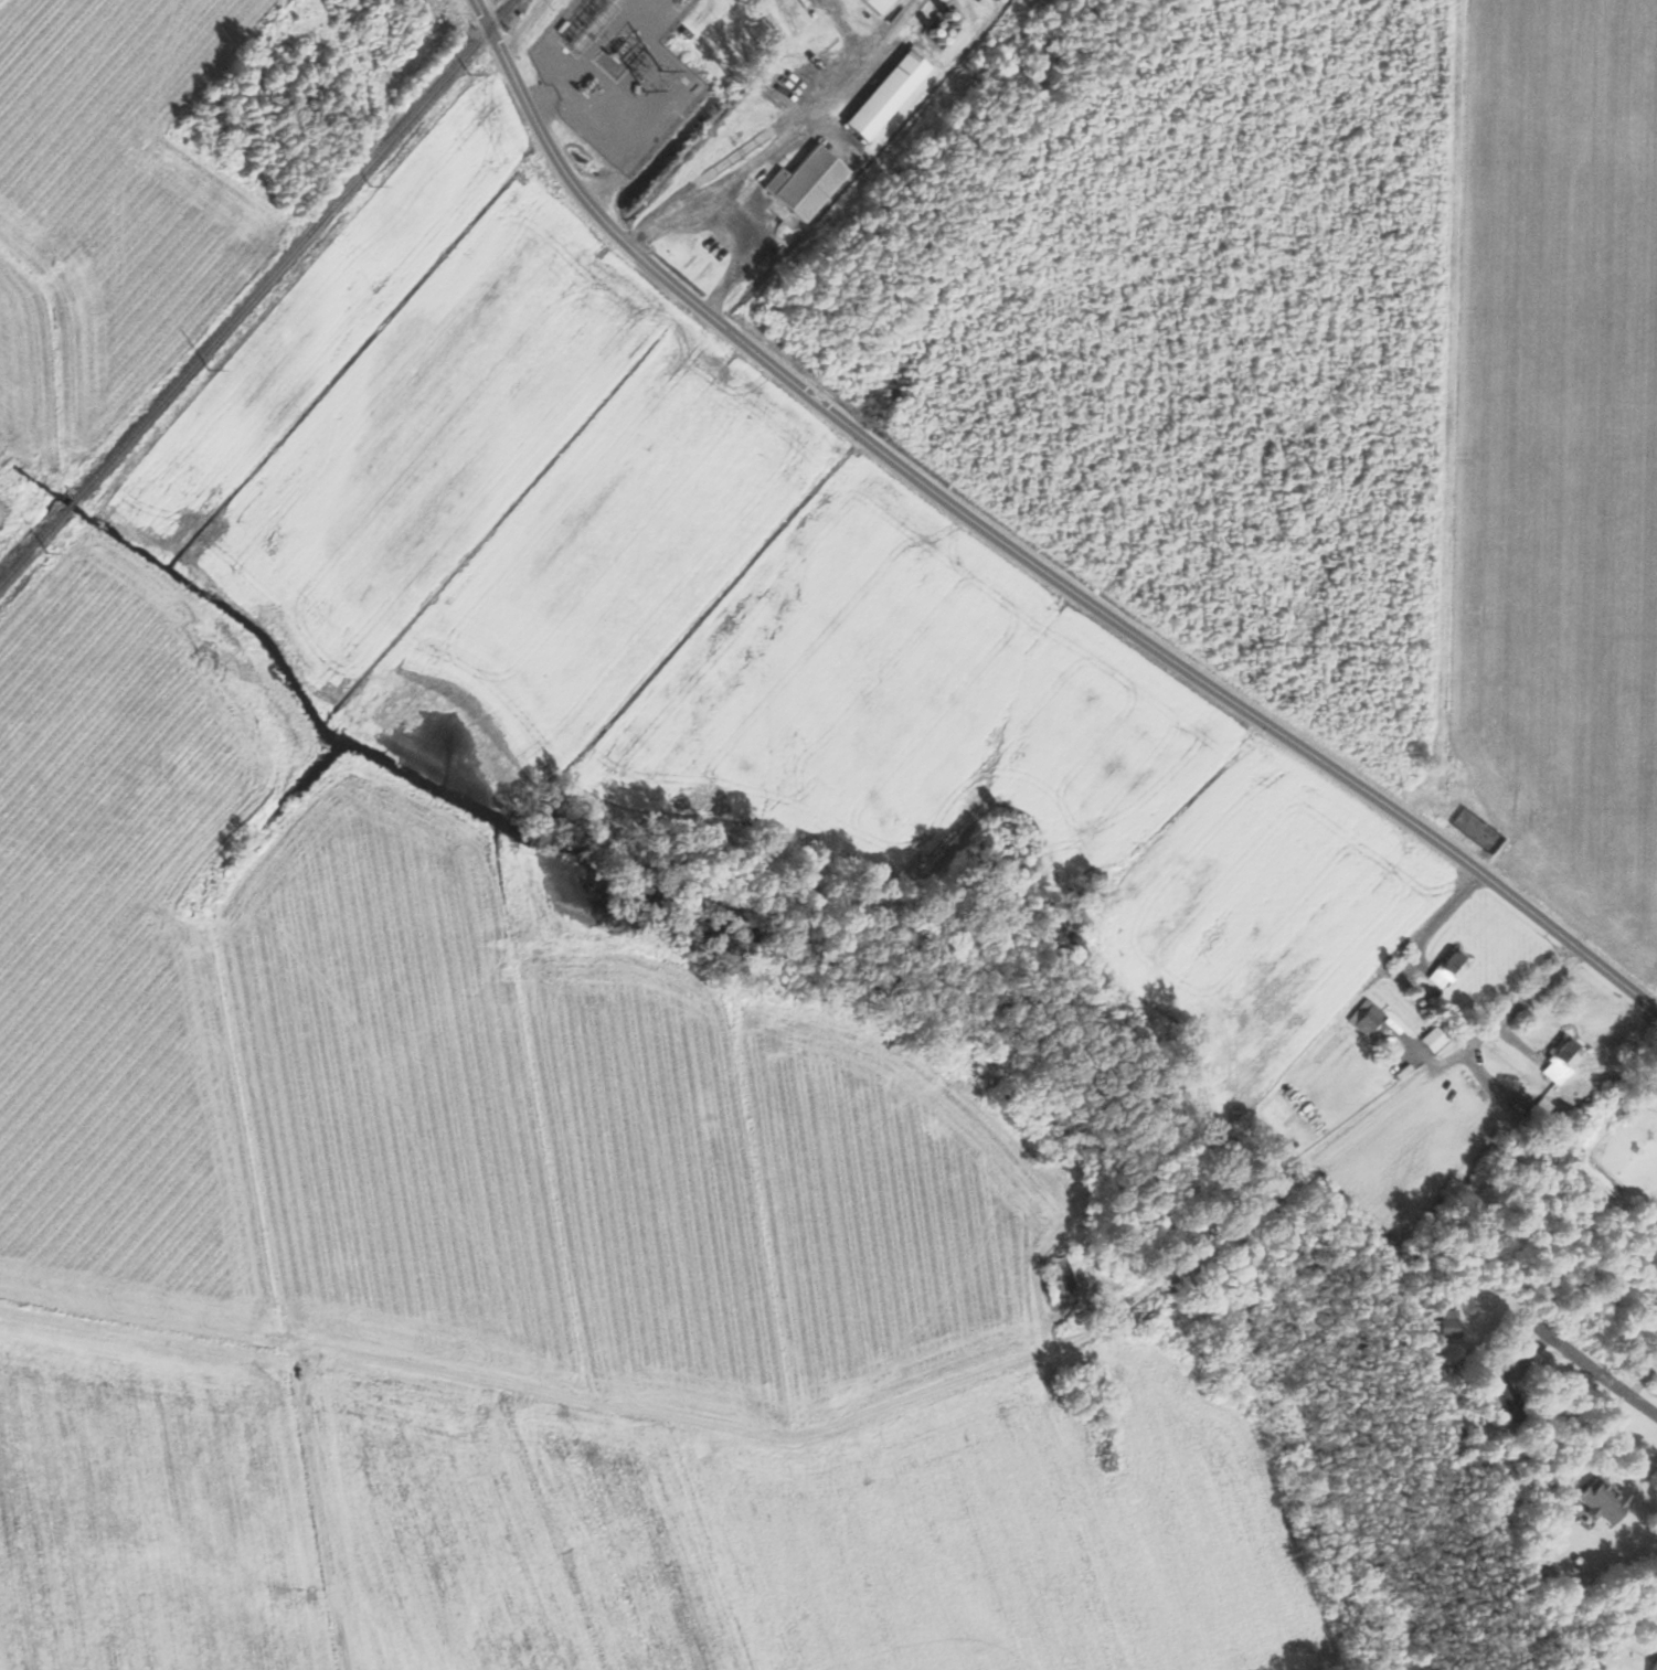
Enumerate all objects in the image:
building: (355, 2)
railway: (788, 15)
road: (832, 26)
road: (885, 34)
power substation: (619, 74)
power tower: (471, 76)
building: (886, 96)
road: (774, 142)
railway: (353, 178)
power tower: (371, 181)
building: (806, 184)
road: (714, 225)
railway: (259, 294)
power tower: (210, 368)
power tower: (50, 550)
road: (1013, 554)
building: (1478, 830)
building: (1449, 970)
building: (1366, 1018)
building: (1561, 1064)
building: (1539, 1114)
road: (1321, 1159)
building: (1391, 1247)
building: (1064, 1277)
building: (1447, 1325)
road: (1548, 1334)
building: (1505, 1398)
building: (1603, 1504)
building: (1655, 1666)

